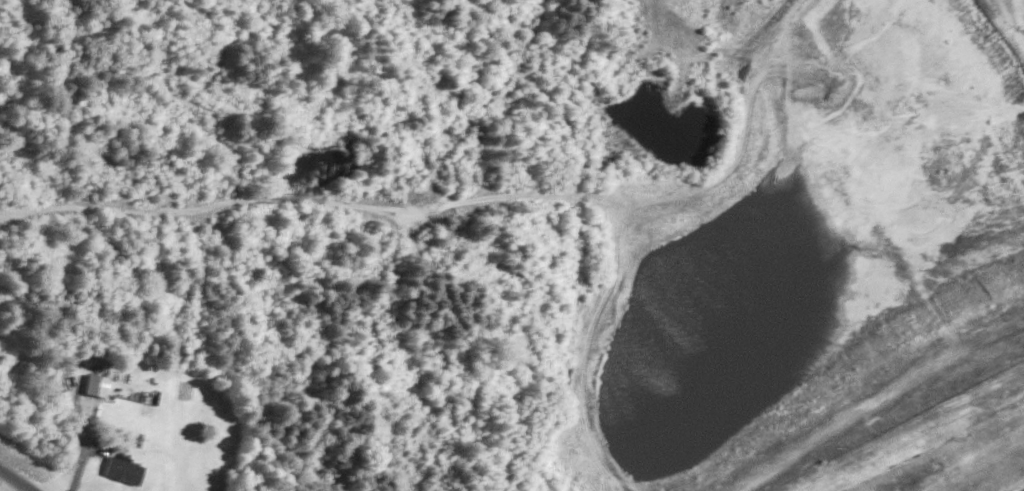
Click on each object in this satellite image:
building: (95, 384)
building: (122, 469)
road: (19, 478)

